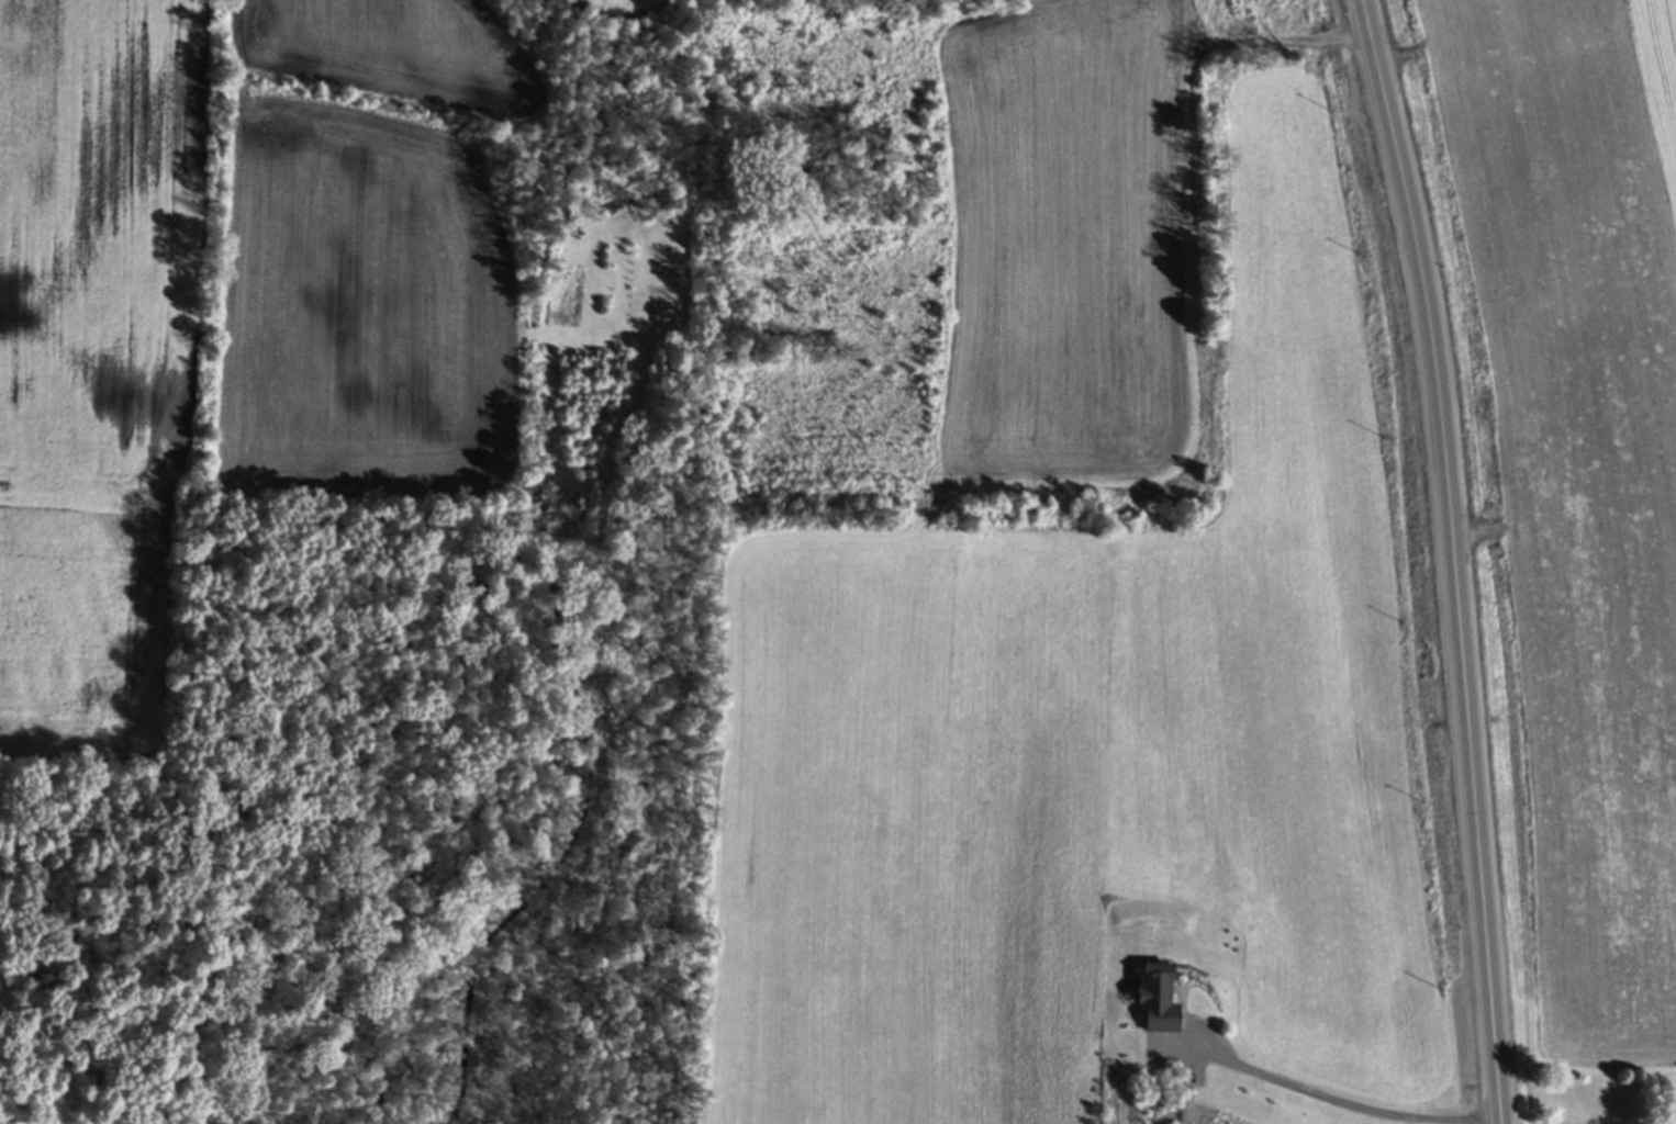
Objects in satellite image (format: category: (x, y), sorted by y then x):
road: (1455, 559)
building: (1152, 1001)
road: (1260, 1098)

